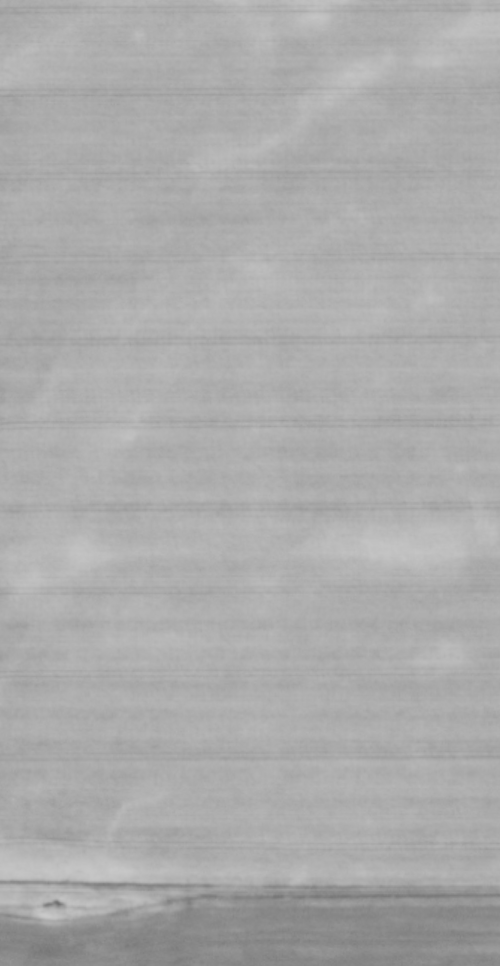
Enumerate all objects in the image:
road: (249, 889)

